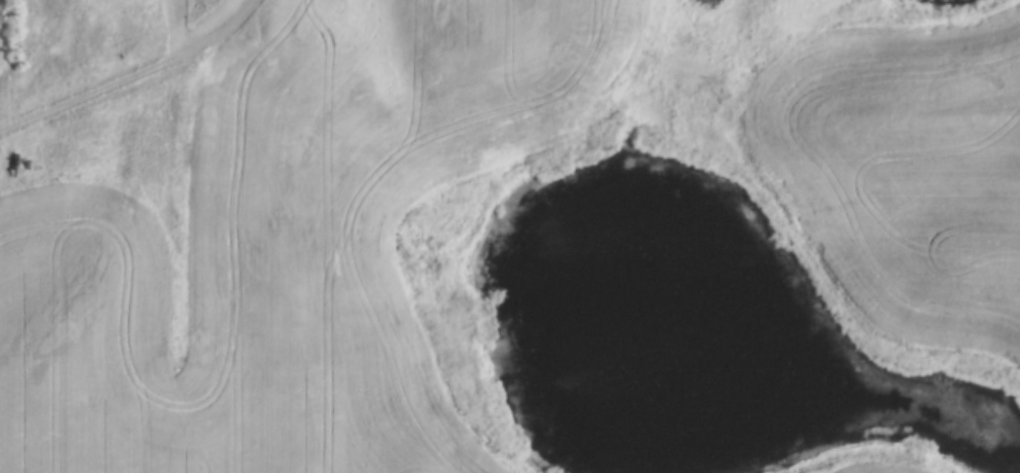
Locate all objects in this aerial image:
road: (128, 69)
road: (166, 109)

